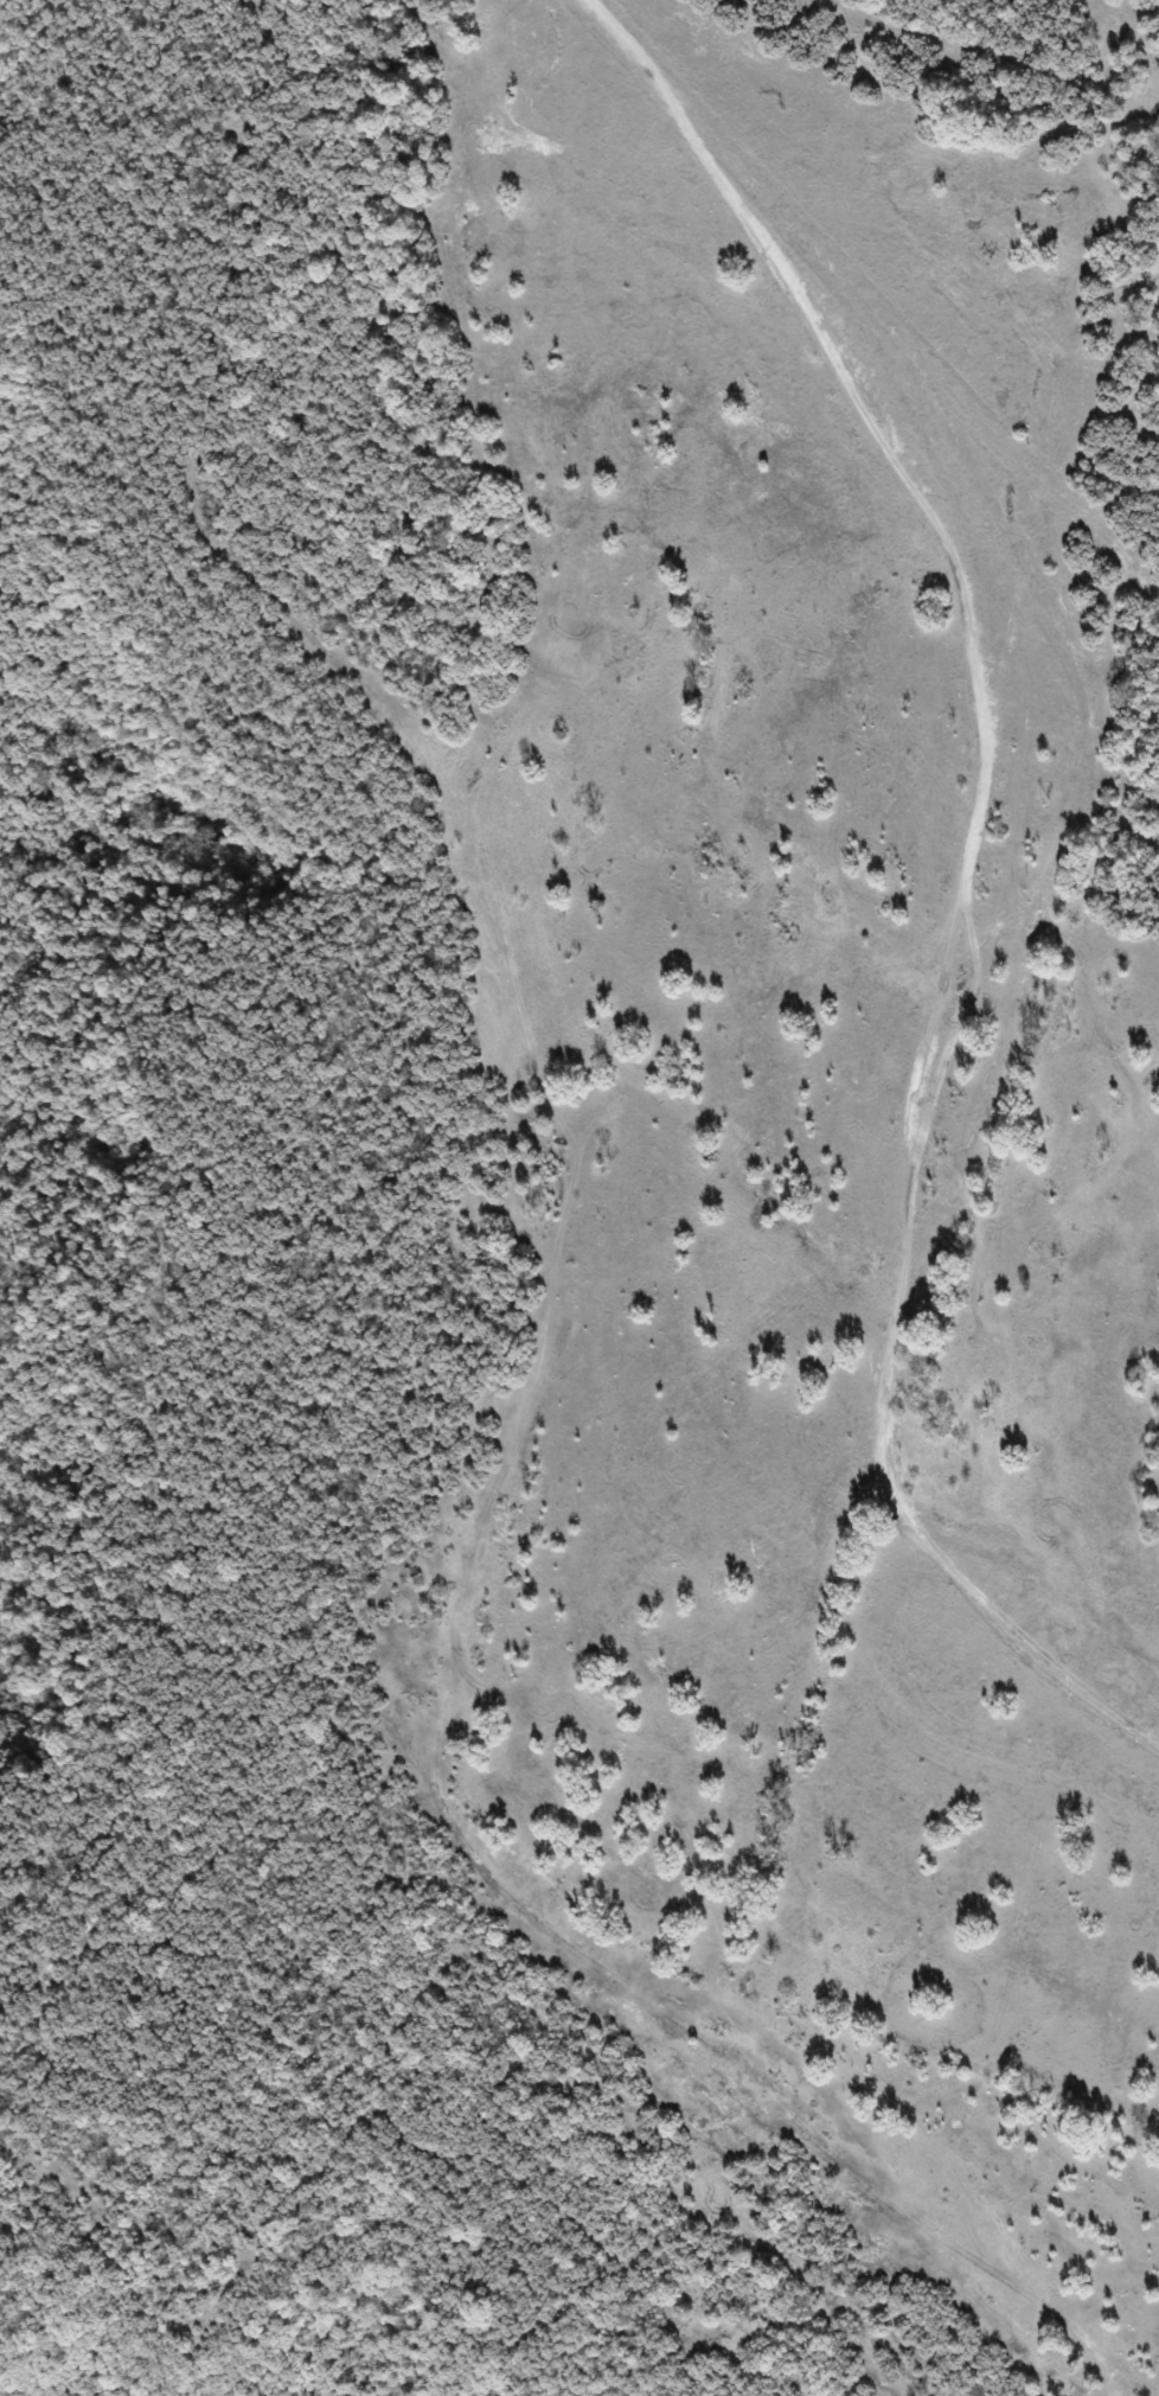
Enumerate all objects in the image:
road: (974, 878)

